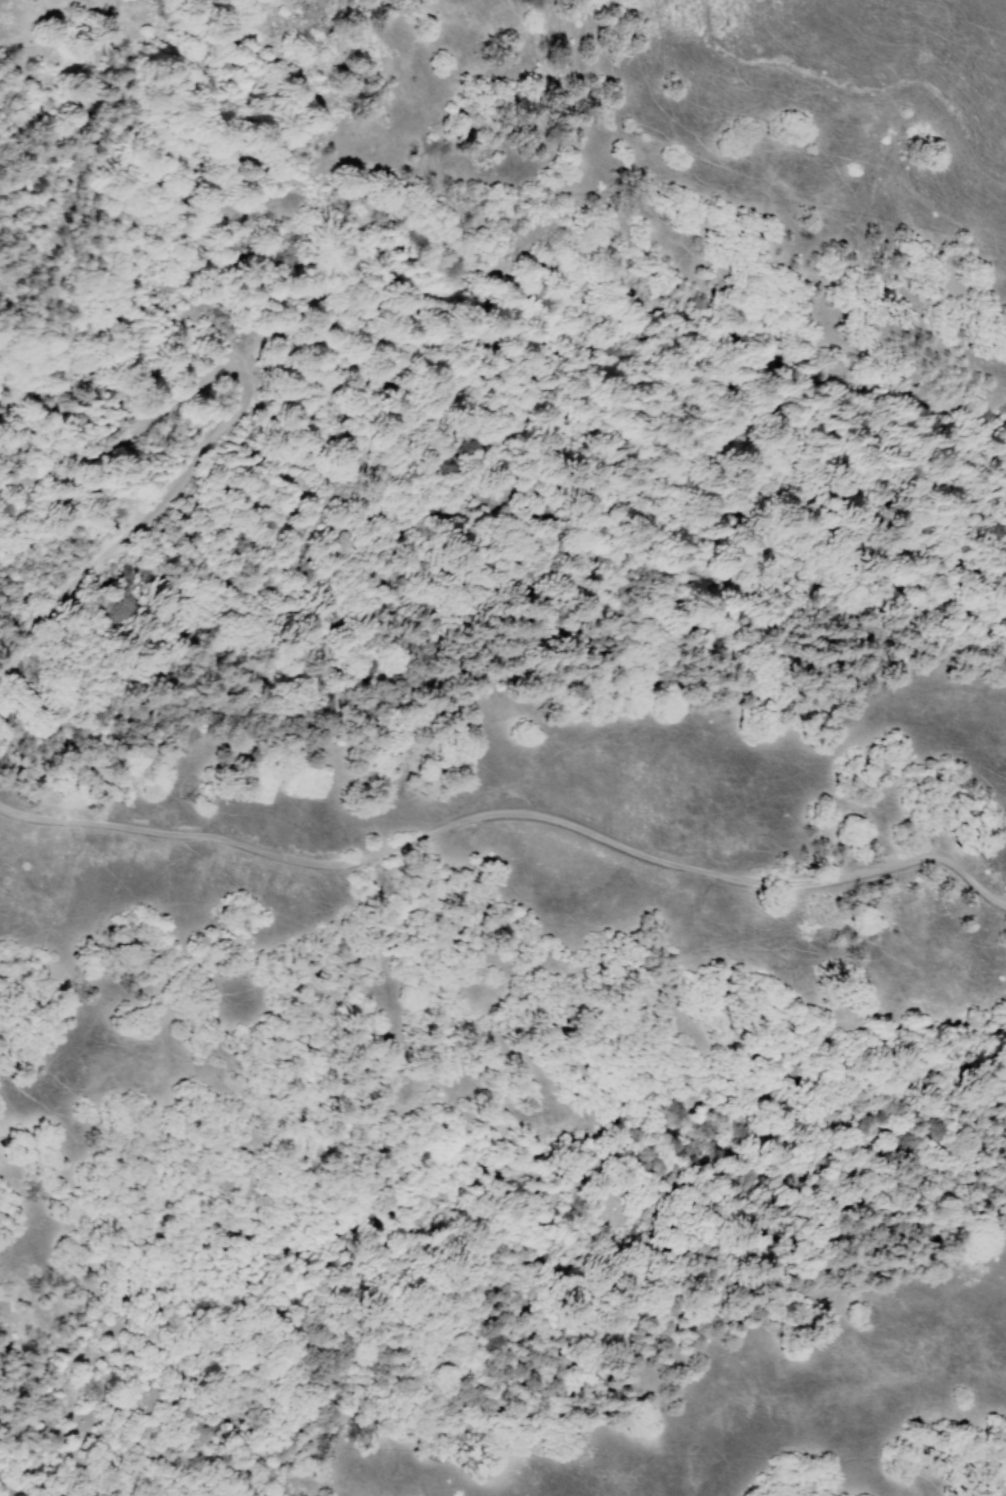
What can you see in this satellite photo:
road: (221, 431)
road: (507, 812)

